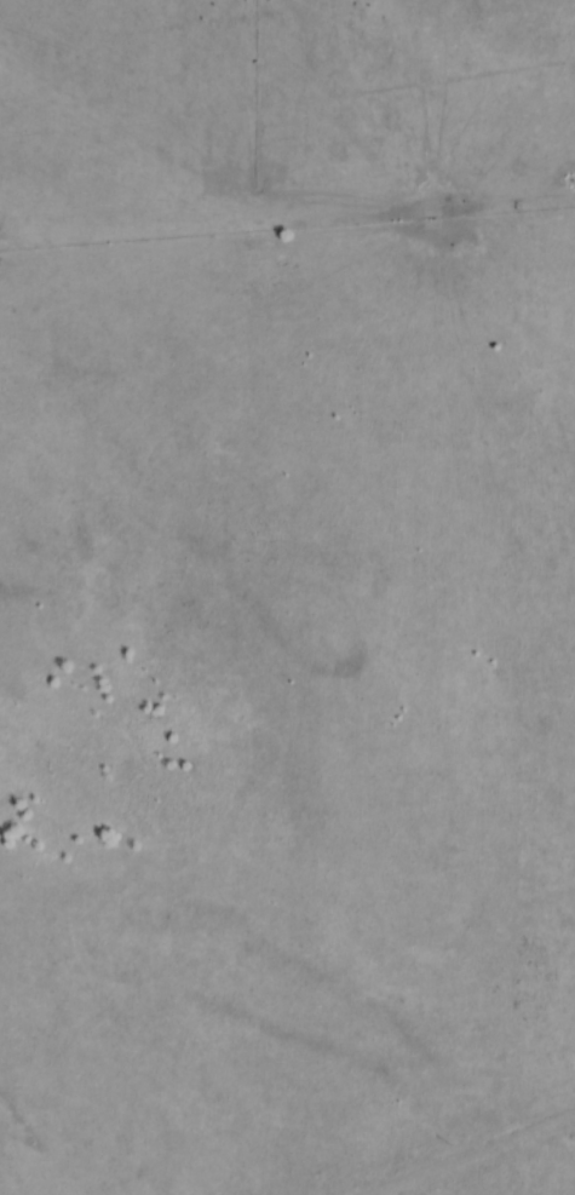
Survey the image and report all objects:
road: (476, 1155)

